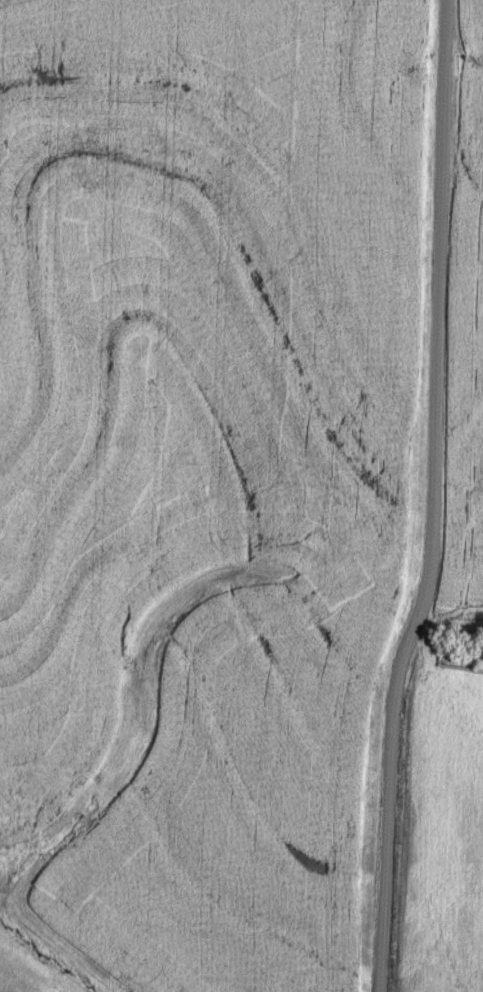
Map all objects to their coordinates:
road: (428, 498)

